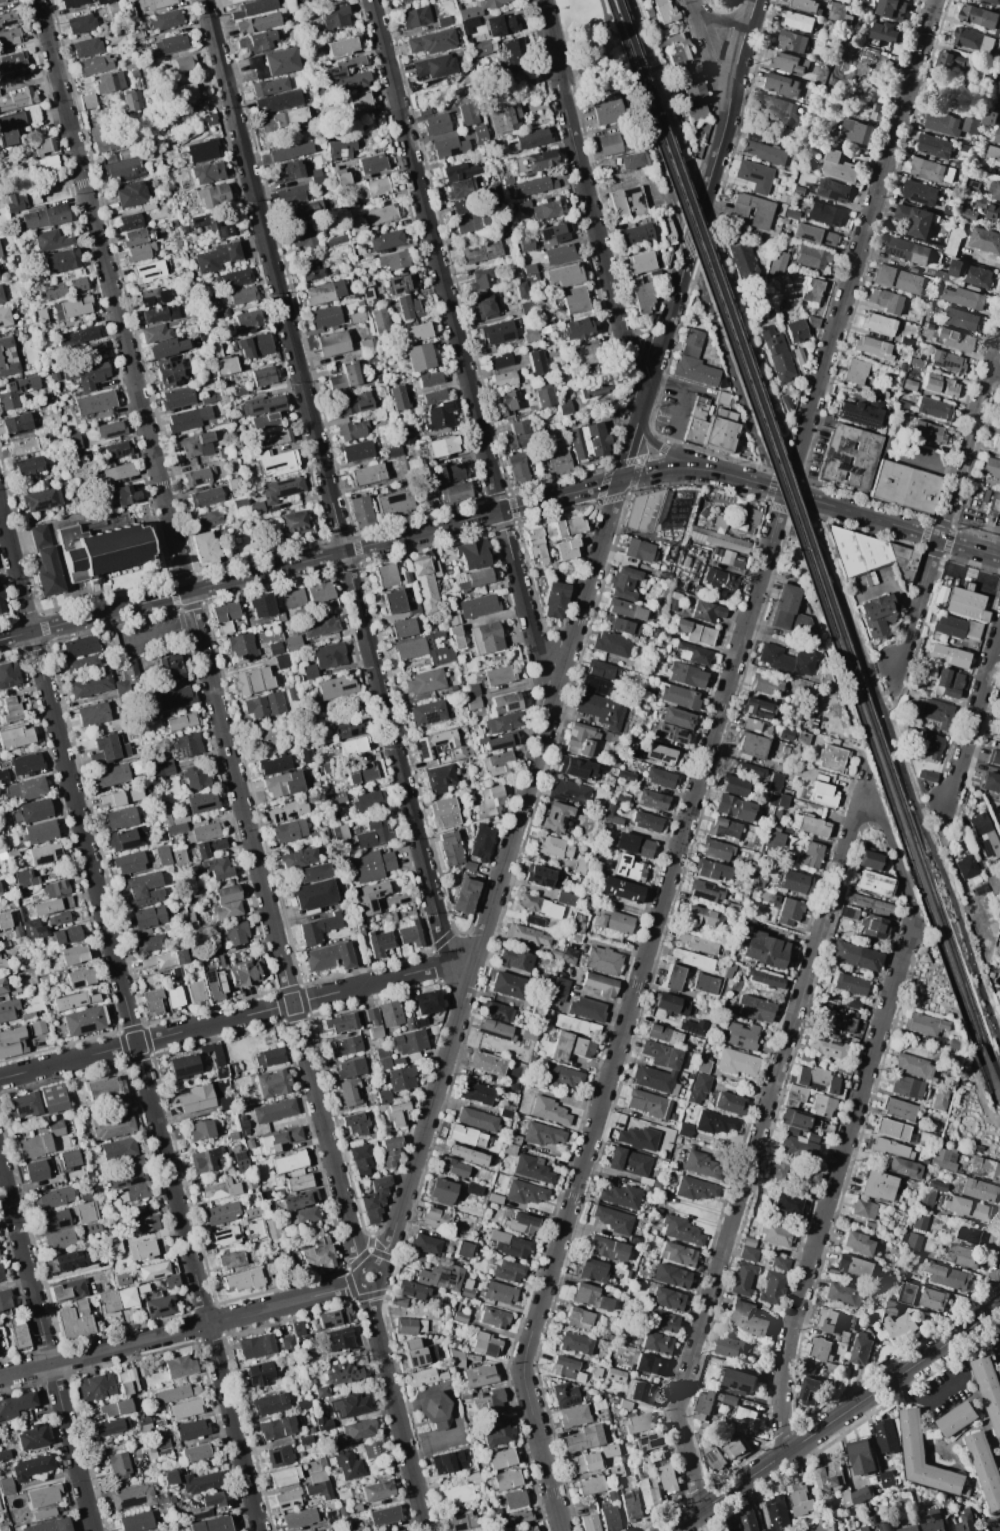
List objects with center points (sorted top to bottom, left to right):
building: (2, 0)
building: (103, 1)
building: (235, 1)
building: (401, 1)
building: (991, 1)
building: (73, 3)
building: (161, 3)
road: (752, 5)
building: (805, 6)
building: (115, 7)
building: (256, 7)
road: (696, 7)
building: (480, 8)
building: (891, 10)
building: (999, 10)
building: (132, 12)
building: (666, 12)
building: (649, 13)
building: (837, 14)
building: (13, 17)
building: (416, 17)
building: (979, 17)
building: (336, 18)
building: (167, 19)
building: (444, 21)
road: (725, 21)
building: (259, 22)
building: (472, 22)
building: (799, 22)
building: (82, 24)
building: (502, 24)
road: (620, 33)
building: (832, 33)
building: (886, 33)
building: (139, 35)
building: (10, 38)
building: (259, 41)
building: (974, 41)
building: (433, 42)
building: (793, 42)
road: (922, 42)
building: (171, 44)
building: (342, 46)
park: (609, 46)
building: (87, 47)
building: (482, 47)
road: (600, 48)
road: (554, 51)
building: (679, 52)
road: (738, 52)
building: (514, 53)
road: (385, 54)
road: (714, 55)
building: (867, 61)
building: (282, 62)
building: (952, 62)
building: (12, 63)
building: (788, 63)
building: (182, 64)
building: (95, 65)
building: (435, 65)
road: (221, 66)
building: (131, 67)
building: (336, 72)
building: (523, 74)
road: (56, 76)
building: (987, 77)
building: (111, 81)
building: (780, 85)
building: (270, 86)
building: (693, 86)
building: (186, 92)
building: (18, 99)
building: (280, 100)
building: (89, 101)
building: (133, 101)
building: (358, 101)
building: (606, 109)
building: (188, 110)
building: (695, 110)
building: (783, 111)
building: (876, 113)
building: (467, 114)
building: (504, 117)
building: (987, 117)
building: (210, 118)
building: (283, 119)
building: (940, 123)
building: (436, 124)
building: (969, 125)
building: (9, 127)
building: (855, 132)
building: (479, 133)
building: (997, 135)
building: (530, 138)
building: (105, 139)
building: (609, 144)
building: (45, 145)
park: (665, 145)
building: (448, 146)
building: (933, 146)
building: (341, 148)
building: (964, 148)
building: (203, 150)
building: (290, 151)
building: (765, 152)
building: (992, 153)
building: (0, 154)
building: (534, 160)
building: (633, 160)
building: (372, 163)
building: (47, 164)
building: (960, 164)
building: (837, 166)
building: (123, 168)
building: (286, 171)
building: (459, 171)
building: (933, 172)
building: (207, 173)
building: (752, 175)
building: (341, 176)
building: (507, 180)
building: (38, 184)
rooftop solar panel: (974, 184)
building: (971, 185)
building: (532, 186)
building: (376, 187)
building: (459, 188)
building: (797, 190)
building: (829, 190)
building: (994, 190)
building: (920, 193)
building: (131, 194)
building: (212, 194)
building: (381, 197)
building: (783, 198)
building: (16, 201)
building: (297, 203)
building: (627, 203)
building: (523, 205)
building: (147, 206)
building: (547, 208)
building: (948, 209)
building: (991, 211)
building: (764, 212)
building: (382, 214)
building: (791, 214)
building: (825, 214)
building: (968, 215)
building: (46, 217)
rooftop solar panel: (196, 220)
building: (784, 220)
building: (915, 220)
building: (469, 221)
building: (130, 222)
building: (212, 224)
rooftop solar panel: (222, 231)
rooftop solar panel: (543, 232)
building: (553, 232)
building: (635, 234)
building: (814, 235)
building: (136, 236)
rooftop solar panel: (804, 236)
building: (302, 237)
building: (335, 239)
building: (51, 240)
building: (387, 240)
building: (937, 240)
building: (952, 240)
building: (984, 240)
rooftop solar panel: (826, 241)
building: (525, 244)
road: (599, 244)
building: (907, 251)
building: (140, 252)
building: (481, 252)
rooftop solar panel: (895, 252)
building: (558, 253)
building: (0, 254)
building: (0, 256)
road: (686, 256)
building: (216, 257)
building: (811, 257)
building: (61, 260)
building: (394, 260)
building: (742, 260)
building: (640, 262)
building: (776, 263)
rooftop solar panel: (146, 264)
building: (528, 268)
building: (310, 269)
building: (912, 270)
building: (148, 271)
rooftop solar panel: (152, 273)
building: (563, 274)
building: (964, 275)
building: (235, 278)
building: (531, 278)
building: (480, 279)
building: (898, 280)
rooftop solar panel: (406, 281)
building: (400, 283)
building: (78, 284)
rooftop solar panel: (402, 285)
building: (520, 289)
building: (811, 289)
building: (54, 291)
building: (324, 292)
building: (369, 292)
building: (243, 295)
building: (1, 297)
building: (154, 297)
building: (642, 297)
building: (963, 298)
building: (574, 299)
building: (884, 301)
building: (484, 305)
building: (72, 307)
building: (407, 307)
building: (161, 313)
building: (215, 315)
building: (325, 316)
building: (4, 317)
building: (357, 317)
railway: (731, 319)
building: (960, 319)
building: (247, 320)
building: (380, 320)
railway: (721, 320)
building: (930, 320)
building: (545, 321)
building: (812, 321)
building: (878, 324)
building: (928, 326)
building: (544, 328)
building: (576, 328)
building: (795, 330)
building: (496, 331)
building: (157, 332)
building: (416, 332)
rooftop solar panel: (502, 335)
building: (78, 336)
building: (953, 339)
building: (905, 341)
building: (332, 343)
building: (254, 345)
building: (367, 346)
building: (168, 347)
building: (873, 347)
building: (86, 349)
building: (215, 351)
building: (551, 352)
park: (740, 352)
building: (584, 354)
building: (798, 355)
building: (7, 357)
building: (419, 357)
building: (778, 357)
building: (499, 360)
building: (693, 360)
building: (536, 361)
building: (946, 361)
building: (916, 362)
rooftop solar panel: (944, 364)
building: (225, 366)
building: (902, 366)
building: (168, 371)
building: (855, 371)
road: (994, 371)
building: (87, 373)
building: (54, 376)
building: (264, 376)
building: (344, 377)
building: (504, 378)
building: (428, 379)
building: (909, 384)
building: (939, 385)
building: (593, 389)
building: (17, 391)
building: (877, 393)
building: (543, 395)
building: (434, 396)
road: (472, 397)
building: (177, 398)
building: (397, 398)
building: (207, 399)
building: (511, 399)
road: (688, 401)
building: (94, 402)
building: (353, 403)
building: (263, 404)
rooftop solar panel: (277, 405)
rooftop solar panel: (364, 405)
rooftop solar panel: (270, 407)
building: (564, 407)
rooftop solar panel: (255, 408)
rooftop solar panel: (267, 408)
building: (932, 408)
building: (861, 411)
building: (376, 415)
building: (439, 415)
rooftop solar panel: (843, 417)
rooftop solar panel: (858, 418)
building: (189, 419)
building: (698, 420)
building: (264, 421)
building: (16, 422)
rooftop solar panel: (868, 422)
building: (999, 426)
building: (110, 429)
building: (663, 429)
building: (352, 430)
building: (720, 431)
building: (927, 431)
building: (405, 434)
building: (518, 434)
building: (276, 438)
building: (587, 441)
building: (73, 442)
building: (195, 444)
building: (996, 445)
building: (22, 446)
building: (442, 446)
road: (628, 448)
building: (112, 450)
building: (356, 451)
building: (224, 452)
road: (673, 454)
traffic signals: (626, 458)
building: (848, 458)
building: (277, 461)
building: (558, 462)
road: (923, 465)
building: (26, 466)
building: (516, 466)
building: (990, 467)
road: (671, 470)
building: (117, 472)
building: (365, 474)
building: (445, 474)
building: (196, 477)
building: (234, 484)
building: (86, 485)
building: (904, 486)
building: (281, 488)
building: (453, 493)
building: (126, 495)
building: (205, 497)
rooftop solar panel: (392, 497)
road: (950, 498)
building: (41, 499)
building: (393, 503)
traffic signals: (613, 503)
building: (239, 504)
building: (256, 508)
building: (992, 508)
building: (643, 511)
building: (360, 512)
road: (861, 514)
building: (209, 518)
road: (804, 519)
building: (294, 522)
building: (569, 526)
building: (718, 539)
building: (535, 545)
building: (203, 547)
building: (566, 548)
building: (638, 550)
building: (844, 550)
building: (870, 550)
building: (107, 551)
building: (472, 553)
road: (346, 556)
building: (729, 558)
road: (310, 560)
building: (684, 561)
building: (45, 563)
building: (902, 563)
building: (553, 565)
building: (386, 575)
building: (664, 575)
building: (719, 578)
building: (473, 579)
building: (424, 582)
building: (622, 582)
building: (696, 588)
building: (318, 591)
building: (675, 595)
building: (293, 598)
building: (555, 599)
building: (393, 601)
building: (965, 602)
building: (1, 604)
building: (260, 604)
building: (672, 604)
building: (476, 605)
building: (244, 607)
building: (414, 608)
building: (624, 609)
building: (706, 611)
building: (280, 615)
building: (875, 615)
building: (791, 616)
building: (224, 617)
building: (319, 625)
building: (620, 625)
building: (956, 627)
building: (402, 628)
building: (653, 632)
building: (695, 632)
parking lot: (150, 636)
building: (456, 637)
building: (486, 637)
building: (111, 639)
road: (143, 640)
road: (825, 642)
building: (610, 643)
building: (241, 645)
building: (78, 646)
building: (291, 646)
building: (275, 647)
building: (423, 648)
building: (693, 653)
building: (328, 655)
building: (947, 656)
building: (788, 659)
building: (282, 661)
building: (82, 662)
building: (171, 666)
road: (880, 666)
building: (600, 669)
building: (308, 671)
building: (8, 673)
building: (498, 675)
building: (685, 675)
building: (126, 676)
building: (253, 681)
building: (425, 681)
building: (947, 682)
building: (91, 684)
building: (766, 684)
building: (595, 685)
building: (337, 686)
rooftop solar panel: (347, 686)
building: (472, 691)
building: (291, 693)
building: (678, 697)
building: (174, 698)
rooftop solar panel: (185, 698)
building: (505, 702)
building: (473, 703)
building: (313, 704)
building: (263, 705)
building: (11, 707)
building: (756, 707)
road: (218, 708)
building: (600, 710)
building: (426, 712)
building: (936, 712)
road: (974, 713)
building: (92, 714)
rooftop solar panel: (429, 717)
building: (674, 717)
building: (182, 721)
building: (501, 721)
building: (751, 724)
park: (877, 726)
building: (349, 727)
building: (998, 729)
building: (668, 733)
building: (785, 734)
building: (15, 736)
building: (262, 737)
building: (148, 738)
building: (579, 738)
building: (802, 738)
rooftop solar panel: (439, 742)
building: (496, 742)
building: (435, 743)
building: (187, 744)
building: (353, 745)
rooftop solar panel: (449, 745)
building: (931, 745)
building: (750, 746)
building: (107, 749)
rooftop solar panel: (422, 750)
rooftop solar panel: (433, 751)
rooftop solar panel: (183, 752)
building: (634, 753)
building: (664, 754)
building: (307, 756)
railway: (885, 756)
building: (832, 757)
building: (994, 757)
railway: (875, 759)
building: (26, 763)
building: (497, 763)
building: (274, 764)
building: (138, 766)
building: (328, 767)
building: (573, 767)
building: (780, 767)
building: (750, 769)
building: (161, 770)
rooftop solar panel: (572, 771)
building: (360, 772)
building: (111, 775)
building: (926, 775)
building: (3, 776)
building: (625, 776)
building: (660, 777)
building: (195, 778)
building: (439, 778)
building: (775, 782)
building: (990, 782)
building: (282, 783)
building: (734, 785)
building: (25, 788)
building: (568, 791)
building: (823, 794)
building: (121, 796)
building: (336, 797)
building: (621, 797)
building: (652, 799)
building: (771, 799)
building: (782, 799)
building: (368, 800)
building: (488, 801)
building: (201, 802)
road: (929, 803)
road: (691, 806)
building: (734, 807)
building: (287, 810)
building: (31, 811)
building: (444, 813)
building: (610, 814)
building: (776, 815)
building: (555, 816)
building: (120, 818)
building: (172, 820)
building: (646, 821)
building: (776, 826)
building: (812, 826)
building: (723, 827)
building: (38, 831)
building: (288, 831)
building: (340, 831)
building: (203, 832)
building: (373, 834)
building: (3, 835)
building: (984, 836)
building: (124, 838)
building: (773, 840)
building: (480, 842)
building: (633, 844)
rooftop solar panel: (128, 846)
building: (208, 846)
building: (553, 847)
building: (450, 848)
rooftop solar panel: (985, 848)
building: (716, 849)
road: (893, 849)
building: (42, 853)
rooftop solar panel: (55, 853)
building: (11, 854)
building: (809, 855)
building: (162, 856)
building: (178, 856)
building: (297, 857)
building: (869, 859)
rooftop solar panel: (42, 860)
building: (128, 862)
building: (371, 865)
building: (217, 866)
building: (966, 866)
building: (628, 867)
building: (710, 869)
building: (311, 873)
road: (503, 873)
building: (539, 876)
building: (24, 878)
building: (795, 881)
building: (873, 883)
building: (993, 884)
building: (54, 888)
rooftop solar panel: (711, 888)
building: (142, 889)
building: (620, 889)
building: (979, 889)
building: (705, 890)
building: (0, 891)
building: (196, 891)
building: (226, 893)
building: (313, 895)
building: (464, 895)
rooftop solar panel: (702, 895)
building: (370, 897)
building: (565, 898)
building: (869, 902)
building: (52, 905)
building: (539, 905)
building: (730, 906)
building: (226, 910)
building: (789, 911)
building: (407, 912)
building: (848, 912)
building: (697, 914)
building: (149, 916)
building: (59, 917)
building: (533, 920)
building: (748, 920)
building: (4, 921)
building: (612, 921)
building: (577, 926)
building: (872, 926)
building: (32, 928)
building: (319, 928)
road: (911, 929)
building: (16, 932)
building: (144, 933)
building: (234, 933)
building: (410, 934)
building: (65, 935)
building: (525, 935)
building: (378, 942)
building: (151, 943)
building: (697, 943)
building: (764, 949)
building: (210, 952)
building: (73, 954)
building: (239, 954)
building: (554, 954)
building: (192, 955)
building: (568, 955)
building: (854, 955)
building: (329, 957)
building: (164, 959)
building: (515, 959)
building: (692, 959)
building: (602, 960)
building: (2, 963)
railway: (960, 968)
railway: (951, 971)
building: (5, 972)
building: (177, 972)
building: (243, 973)
rooftop solar panel: (208, 975)
building: (672, 977)
building: (78, 978)
building: (765, 978)
building: (44, 980)
rooftop solar panel: (78, 983)
building: (599, 983)
building: (704, 983)
building: (849, 983)
building: (214, 984)
building: (2, 985)
building: (510, 985)
building: (557, 990)
building: (194, 991)
building: (173, 997)
building: (74, 1000)
building: (152, 1001)
building: (426, 1001)
building: (671, 1003)
building: (853, 1004)
building: (754, 1008)
building: (8, 1009)
building: (586, 1009)
building: (496, 1010)
building: (390, 1013)
building: (372, 1015)
building: (27, 1016)
rooftop solar panel: (494, 1017)
road: (130, 1018)
road: (236, 1018)
building: (84, 1020)
building: (341, 1022)
building: (407, 1022)
building: (419, 1022)
building: (839, 1022)
building: (574, 1024)
building: (923, 1024)
building: (693, 1026)
building: (37, 1027)
rooftop solar panel: (83, 1028)
building: (495, 1029)
building: (375, 1032)
building: (528, 1034)
building: (663, 1034)
building: (740, 1036)
building: (11, 1039)
building: (408, 1041)
building: (955, 1044)
building: (567, 1045)
building: (344, 1046)
building: (825, 1046)
building: (380, 1052)
building: (661, 1054)
building: (269, 1056)
building: (215, 1058)
building: (736, 1061)
building: (384, 1063)
building: (486, 1063)
building: (183, 1065)
building: (702, 1065)
building: (912, 1065)
building: (839, 1067)
building: (349, 1068)
building: (559, 1075)
building: (400, 1077)
building: (655, 1079)
building: (818, 1080)
building: (272, 1083)
building: (906, 1086)
building: (697, 1087)
building: (100, 1088)
building: (348, 1093)
building: (476, 1093)
building: (383, 1096)
building: (794, 1096)
building: (52, 1097)
building: (196, 1098)
building: (939, 1099)
building: (225, 1102)
building: (648, 1103)
building: (728, 1103)
building: (23, 1105)
building: (822, 1105)
rooftop solar panel: (21, 1109)
building: (897, 1109)
building: (274, 1110)
building: (548, 1110)
building: (506, 1111)
building: (396, 1112)
building: (793, 1118)
building: (477, 1119)
building: (711, 1122)
building: (354, 1123)
building: (243, 1124)
building: (109, 1125)
building: (827, 1126)
building: (55, 1128)
building: (200, 1128)
building: (891, 1128)
building: (683, 1129)
building: (790, 1131)
building: (541, 1134)
building: (232, 1135)
building: (465, 1135)
building: (638, 1137)
building: (811, 1137)
building: (280, 1139)
building: (513, 1139)
building: (249, 1143)
building: (33, 1145)
building: (888, 1147)
road: (753, 1148)
building: (797, 1148)
building: (118, 1149)
building: (509, 1149)
building: (389, 1150)
rooftop solar panel: (202, 1154)
building: (466, 1154)
building: (360, 1158)
building: (941, 1159)
building: (66, 1160)
building: (207, 1160)
building: (134, 1161)
building: (289, 1161)
building: (240, 1162)
building: (629, 1163)
rooftop solar panel: (205, 1164)
building: (700, 1164)
building: (454, 1167)
building: (903, 1167)
building: (983, 1168)
building: (532, 1169)
building: (775, 1169)
building: (36, 1171)
building: (292, 1173)
building: (812, 1176)
building: (127, 1177)
building: (298, 1182)
building: (877, 1186)
building: (936, 1186)
building: (473, 1188)
building: (693, 1188)
building: (219, 1189)
building: (977, 1190)
building: (441, 1191)
building: (133, 1192)
building: (523, 1192)
building: (620, 1195)
building: (84, 1196)
building: (53, 1197)
building: (299, 1198)
building: (495, 1198)
road: (828, 1198)
building: (374, 1199)
building: (926, 1199)
building: (785, 1204)
building: (862, 1208)
building: (967, 1209)
building: (84, 1211)
building: (221, 1212)
building: (251, 1212)
building: (301, 1216)
building: (433, 1217)
building: (54, 1219)
building: (613, 1219)
building: (919, 1220)
rooftop solar panel: (62, 1223)
building: (145, 1223)
building: (520, 1223)
building: (92, 1227)
building: (870, 1227)
building: (272, 1228)
building: (680, 1230)
building: (314, 1232)
rooftop solar panel: (219, 1234)
building: (775, 1234)
building: (966, 1234)
building: (260, 1235)
building: (225, 1236)
building: (60, 1240)
building: (748, 1241)
building: (854, 1243)
building: (912, 1243)
building: (425, 1244)
building: (509, 1244)
building: (114, 1246)
building: (144, 1248)
building: (605, 1248)
building: (463, 1249)
building: (748, 1253)
building: (676, 1254)
building: (269, 1255)
building: (961, 1255)
building: (317, 1257)
building: (230, 1258)
building: (419, 1258)
building: (63, 1261)
road: (25, 1263)
building: (779, 1263)
building: (851, 1265)
road: (357, 1268)
building: (154, 1269)
building: (507, 1270)
building: (592, 1270)
building: (1, 1274)
building: (670, 1275)
building: (441, 1276)
building: (947, 1276)
building: (122, 1278)
building: (741, 1278)
building: (243, 1279)
building: (171, 1281)
building: (771, 1287)
building: (67, 1289)
building: (412, 1289)
building: (466, 1289)
building: (498, 1291)
building: (842, 1292)
building: (907, 1293)
building: (589, 1296)
building: (125, 1297)
building: (667, 1298)
building: (4, 1299)
building: (932, 1299)
building: (106, 1301)
building: (398, 1301)
building: (157, 1306)
building: (890, 1308)
building: (459, 1316)
building: (332, 1317)
building: (493, 1317)
building: (746, 1318)
building: (826, 1318)
building: (577, 1319)
building: (659, 1319)
building: (73, 1320)
road: (994, 1323)
building: (410, 1326)
building: (898, 1326)
building: (297, 1328)
road: (178, 1331)
building: (19, 1333)
building: (301, 1338)
building: (337, 1338)
building: (656, 1342)
building: (484, 1343)
building: (573, 1343)
building: (288, 1345)
building: (255, 1346)
building: (728, 1346)
parking lot: (995, 1346)
building: (819, 1348)
building: (860, 1349)
building: (417, 1352)
rooftop solar panel: (424, 1358)
building: (456, 1358)
rooftop solar panel: (417, 1359)
rooftop solar panel: (409, 1360)
building: (649, 1364)
building: (178, 1366)
building: (140, 1367)
building: (564, 1367)
building: (999, 1367)
building: (705, 1368)
building: (999, 1368)
building: (808, 1369)
building: (260, 1372)
building: (342, 1372)
building: (615, 1374)
building: (478, 1375)
building: (424, 1376)
building: (739, 1380)
building: (126, 1381)
building: (95, 1387)
building: (989, 1388)
building: (321, 1391)
building: (808, 1391)
road: (909, 1391)
road: (944, 1391)
building: (175, 1393)
building: (643, 1394)
building: (464, 1395)
building: (564, 1395)
building: (719, 1396)
building: (729, 1399)
building: (488, 1401)
rooftop solar panel: (570, 1402)
building: (350, 1403)
building: (15, 1404)
building: (269, 1404)
building: (624, 1404)
building: (299, 1405)
building: (702, 1405)
building: (114, 1407)
building: (184, 1408)
building: (433, 1408)
road: (396, 1411)
building: (572, 1415)
road: (834, 1418)
building: (745, 1419)
building: (958, 1419)
building: (156, 1422)
building: (322, 1422)
building: (638, 1423)
building: (143, 1424)
building: (110, 1426)
building: (277, 1426)
building: (191, 1429)
building: (358, 1429)
building: (496, 1432)
building: (31, 1436)
building: (886, 1437)
building: (912, 1437)
building: (583, 1438)
building: (650, 1441)
building: (161, 1442)
building: (105, 1443)
building: (999, 1444)
road: (72, 1447)
building: (149, 1447)
building: (733, 1448)
building: (329, 1449)
building: (374, 1449)
building: (607, 1450)
building: (195, 1452)
building: (164, 1453)
building: (4, 1454)
building: (279, 1455)
building: (860, 1456)
building: (657, 1457)
rooftop solar panel: (711, 1457)
building: (500, 1458)
building: (714, 1459)
building: (447, 1462)
building: (584, 1462)
building: (348, 1464)
building: (117, 1465)
building: (32, 1466)
building: (985, 1468)
building: (615, 1475)
building: (284, 1476)
building: (318, 1476)
building: (828, 1476)
building: (168, 1478)
building: (668, 1478)
building: (505, 1479)
building: (887, 1479)
building: (201, 1482)
building: (6, 1485)
building: (589, 1485)
building: (318, 1489)
building: (377, 1490)
building: (460, 1491)
building: (649, 1492)
building: (42, 1495)
building: (855, 1495)
building: (137, 1496)
building: (611, 1496)
building: (171, 1498)
building: (513, 1498)
building: (212, 1499)
building: (287, 1499)
building: (799, 1499)
rooftop solar panel: (132, 1503)
building: (629, 1505)
building: (354, 1507)
building: (0, 1508)
building: (43, 1513)
building: (200, 1513)
building: (777, 1514)
building: (383, 1515)
building: (299, 1517)
rooftop solar panel: (459, 1517)
building: (518, 1517)
building: (608, 1518)
rooftop solar panel: (938, 1519)
building: (461, 1520)
building: (930, 1520)
building: (135, 1521)
building: (749, 1521)
building: (871, 1521)
rooftop solar panel: (924, 1521)
building: (965, 1521)
building: (589, 1523)
building: (211, 1524)
building: (733, 1524)
building: (849, 1524)
building: (49, 1525)
building: (884, 1526)
building: (3, 1527)
building: (828, 1527)
building: (863, 1528)
building: (907, 1528)
rooftop solar panel: (460, 1529)
building: (526, 1529)
building: (316, 1530)
building: (399, 1530)
building: (765, 1530)

